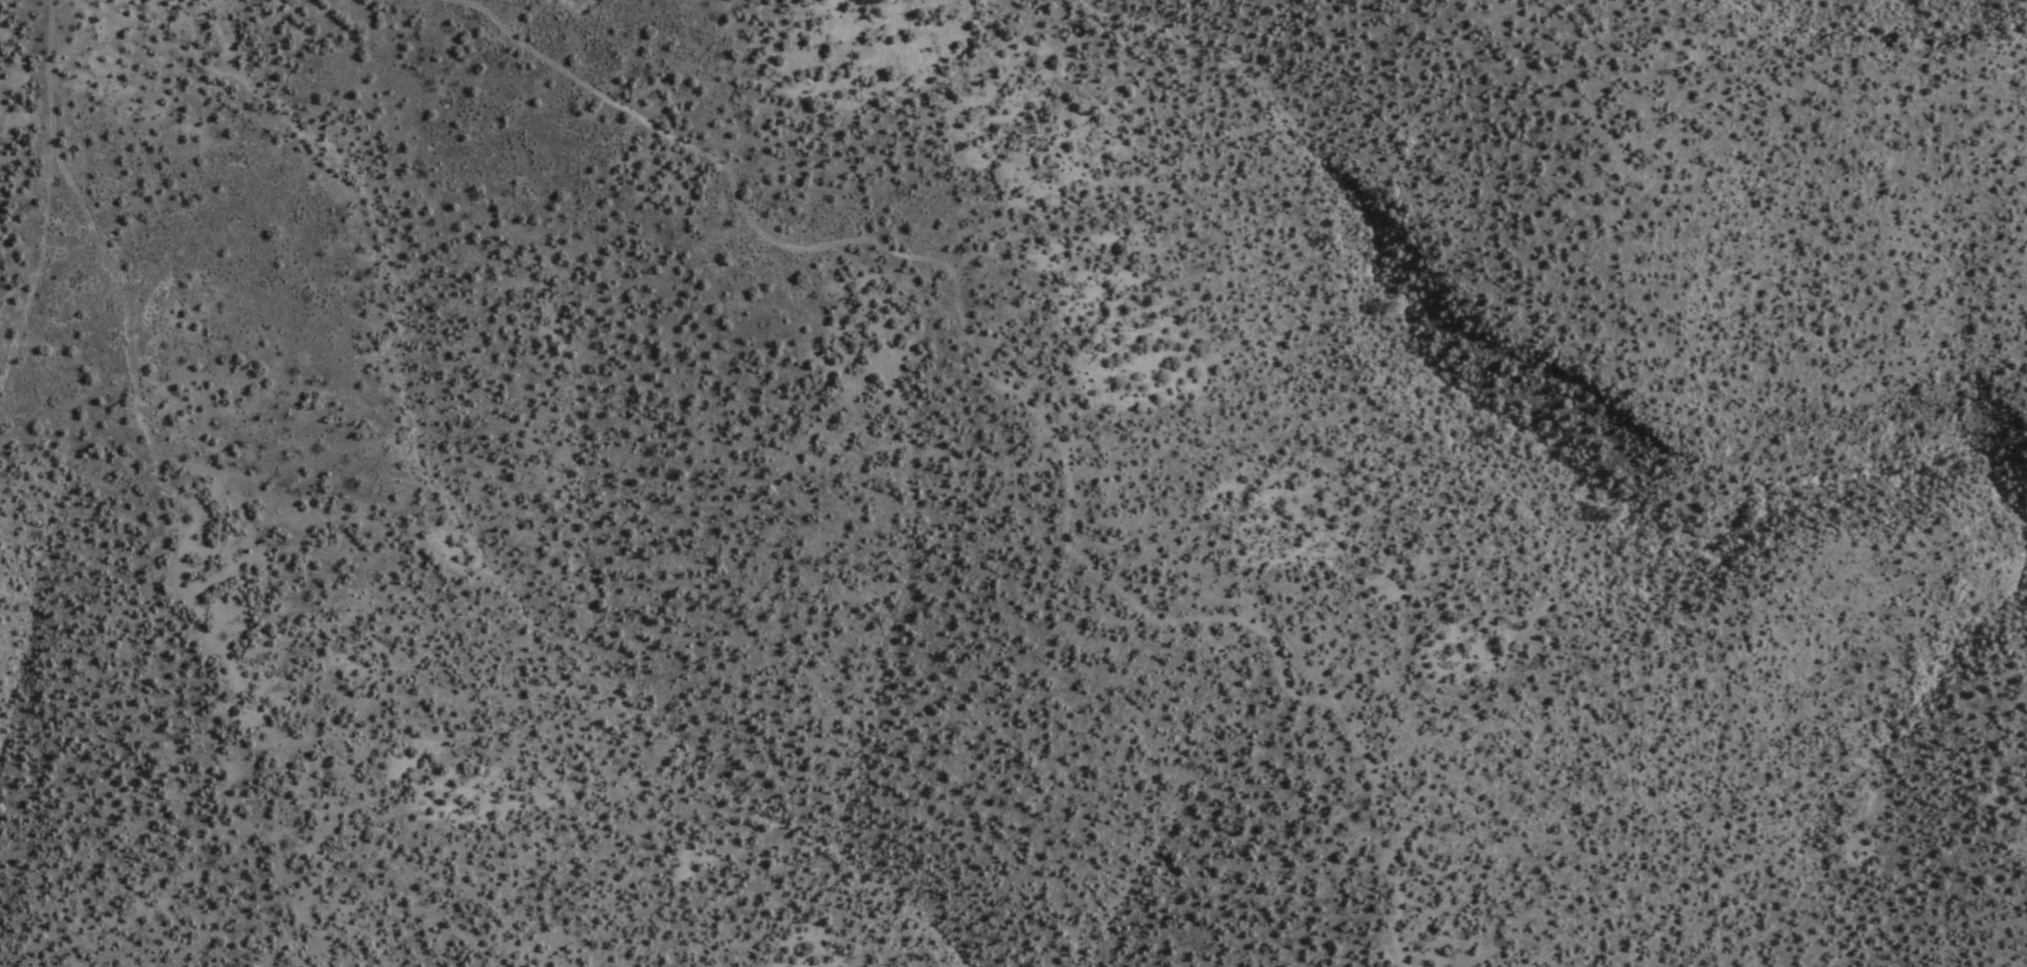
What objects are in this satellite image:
road: (1686, 149)
road: (44, 223)
road: (1030, 411)

